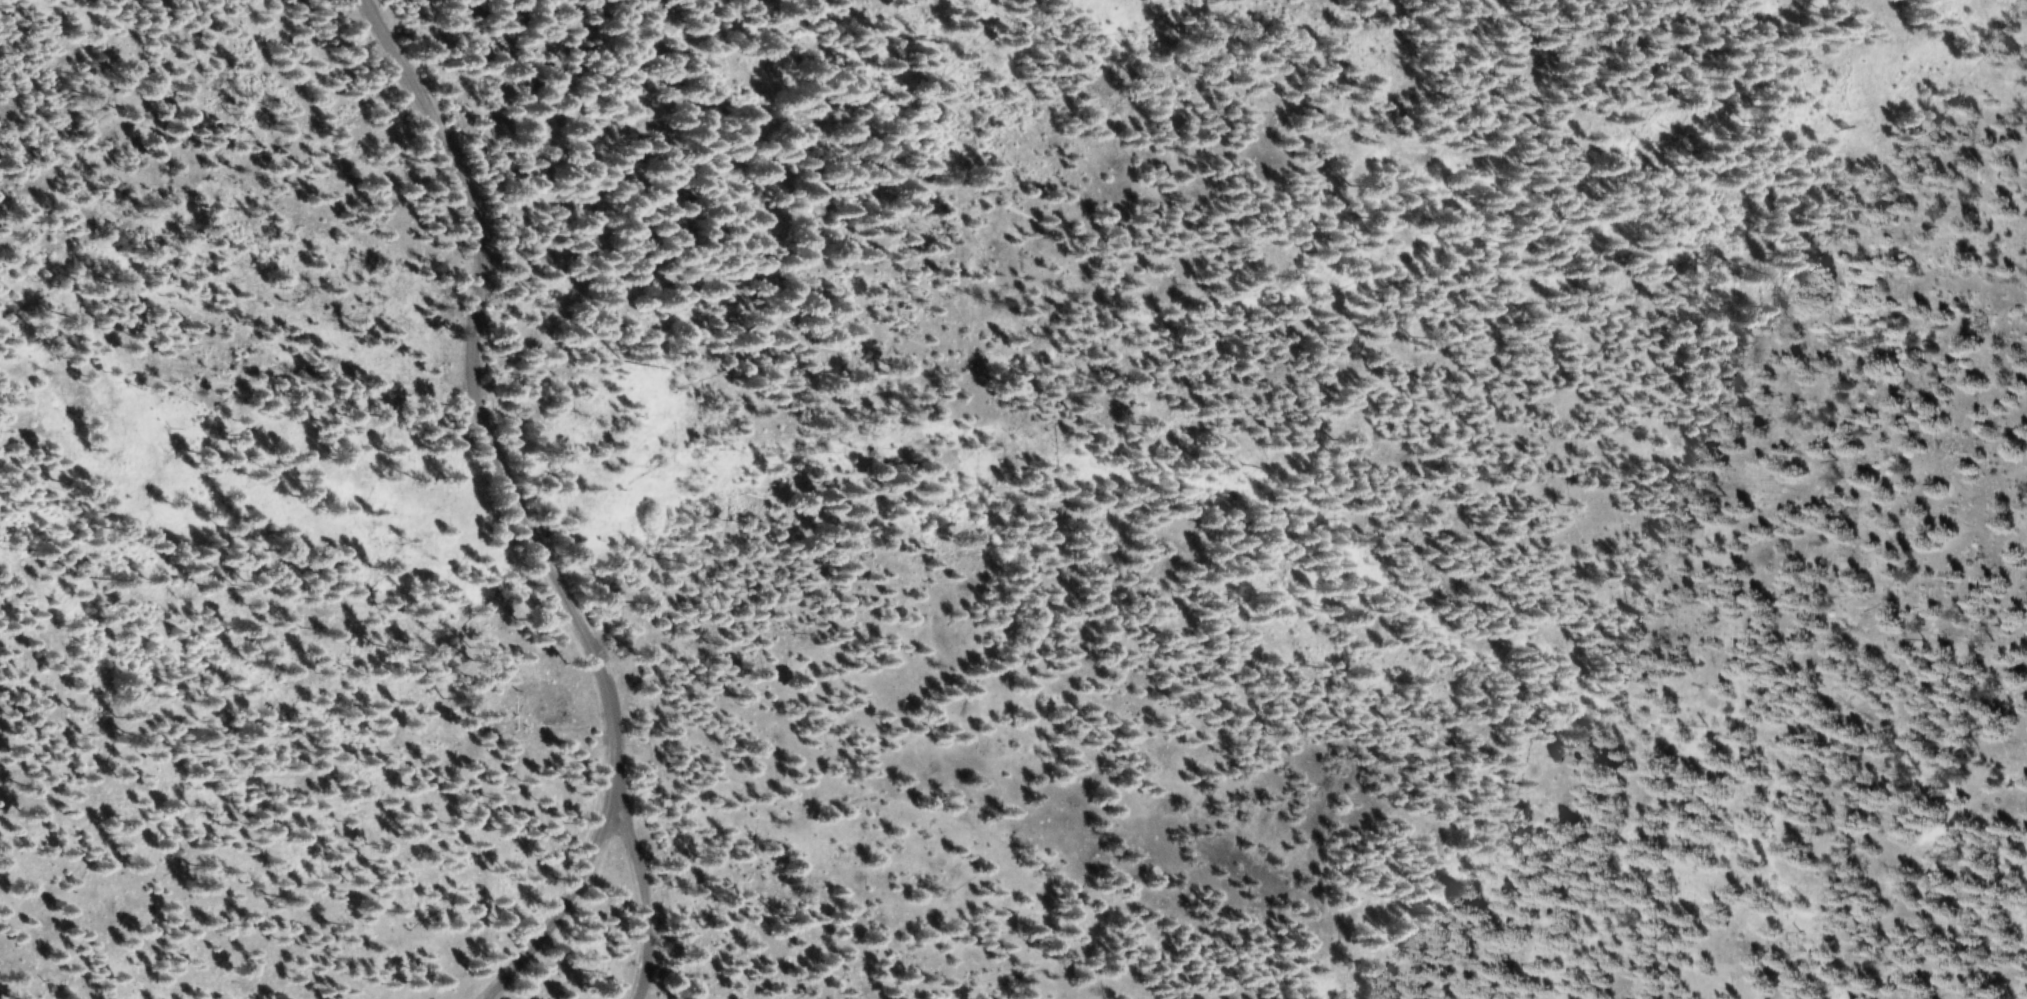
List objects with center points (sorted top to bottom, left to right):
road: (516, 512)
road: (636, 878)

